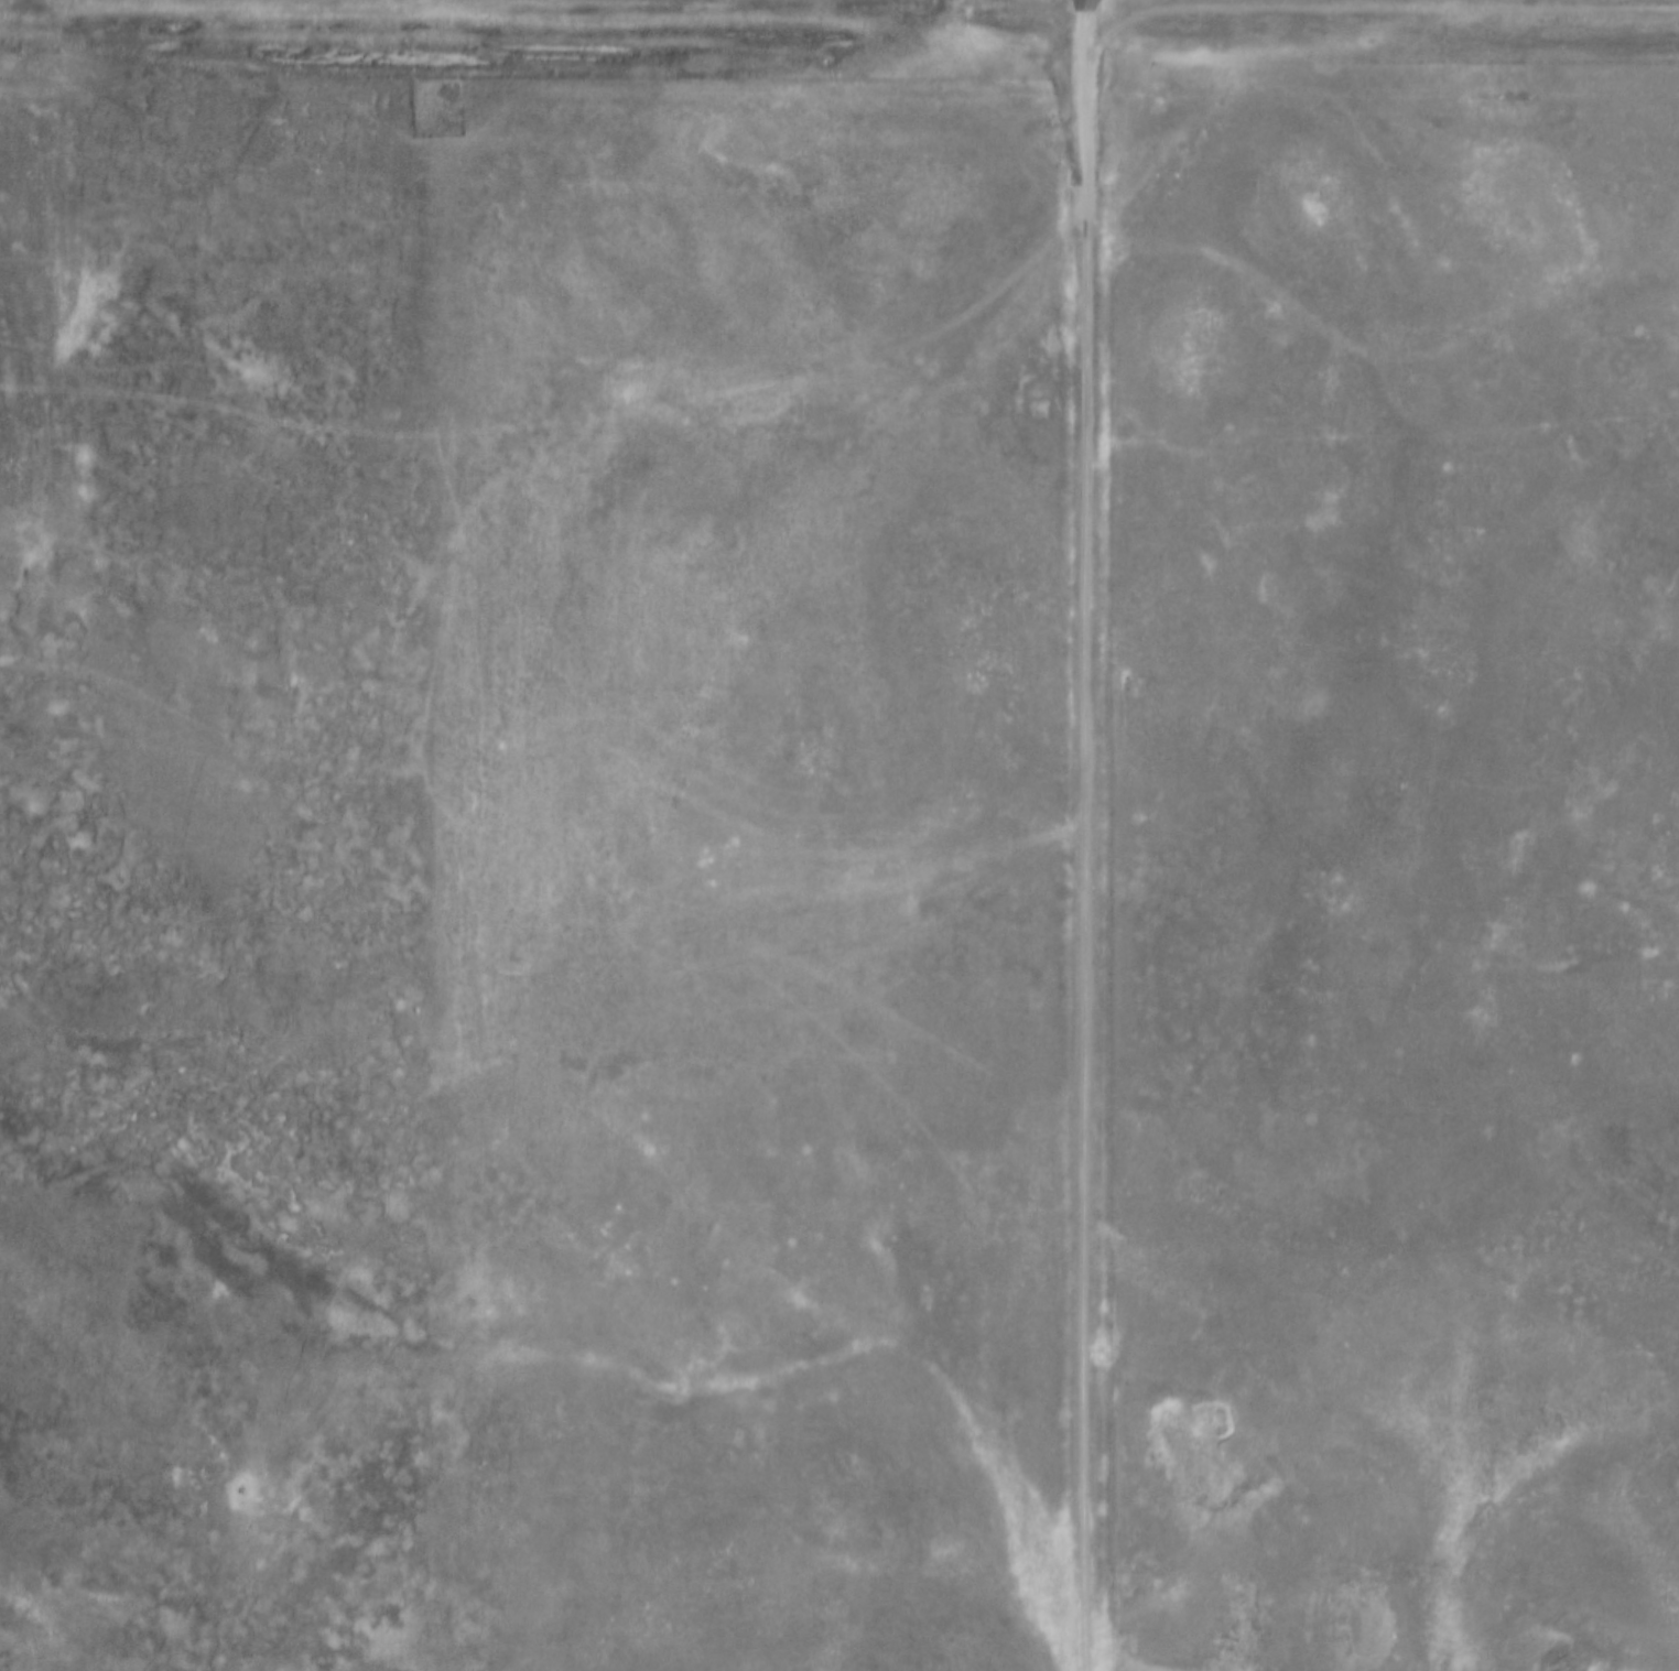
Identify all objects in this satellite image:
road: (1087, 835)

